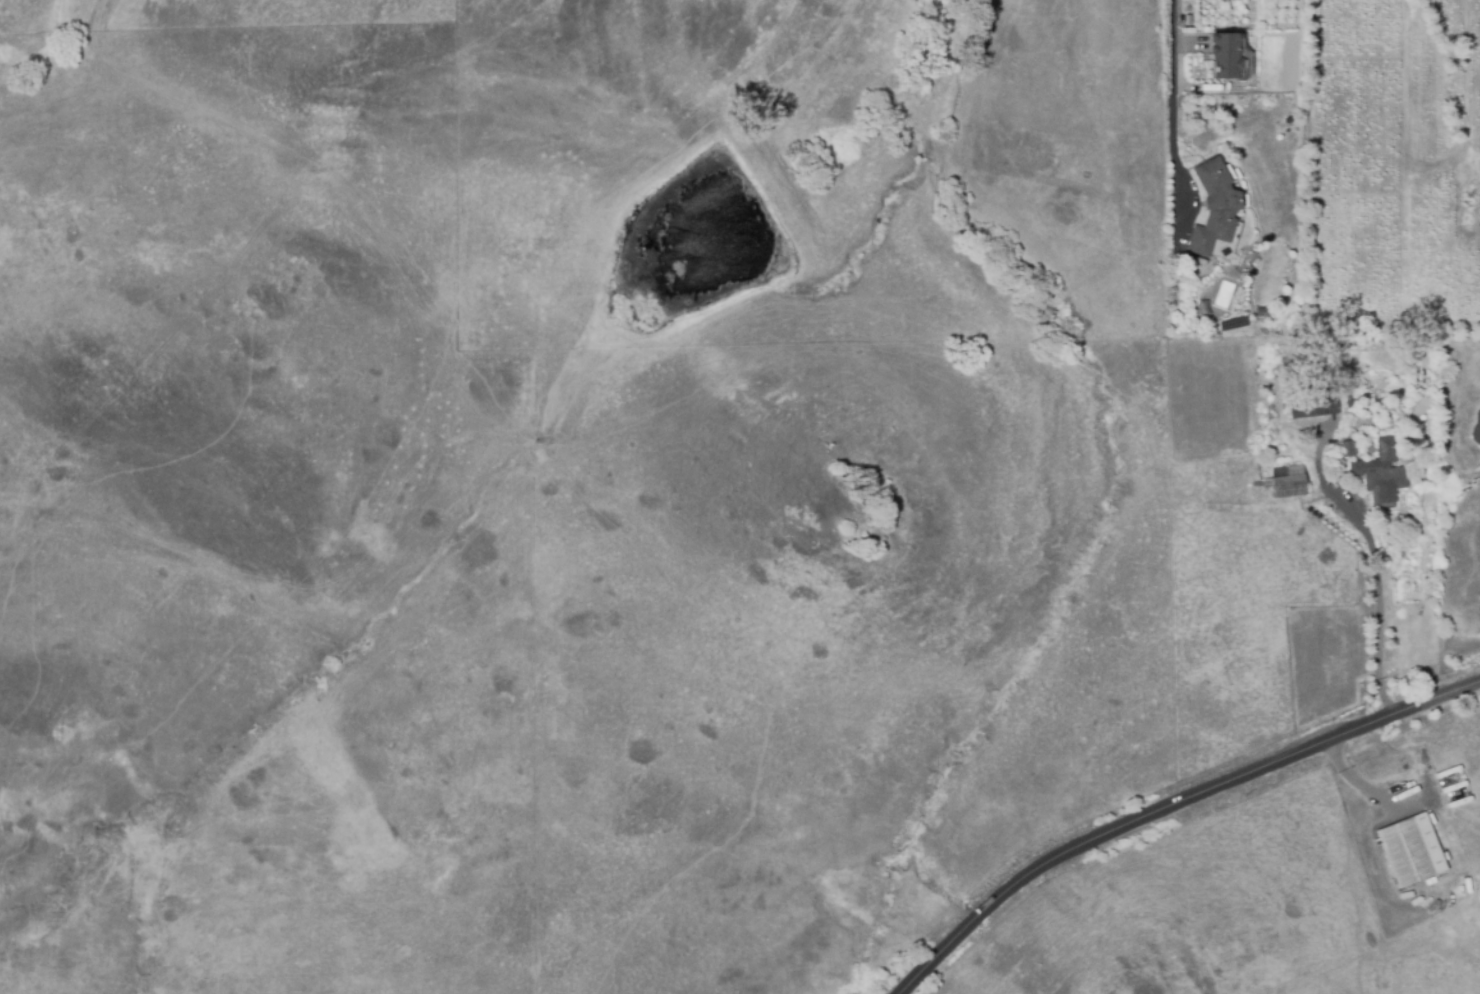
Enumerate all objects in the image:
building: (1227, 54)
road: (1171, 77)
building: (1216, 206)
building: (1362, 394)
building: (1351, 400)
building: (1310, 405)
building: (1477, 428)
building: (1348, 449)
building: (1381, 472)
building: (1288, 483)
road: (1376, 599)
road: (1359, 783)
road: (1171, 805)
building: (1411, 852)

